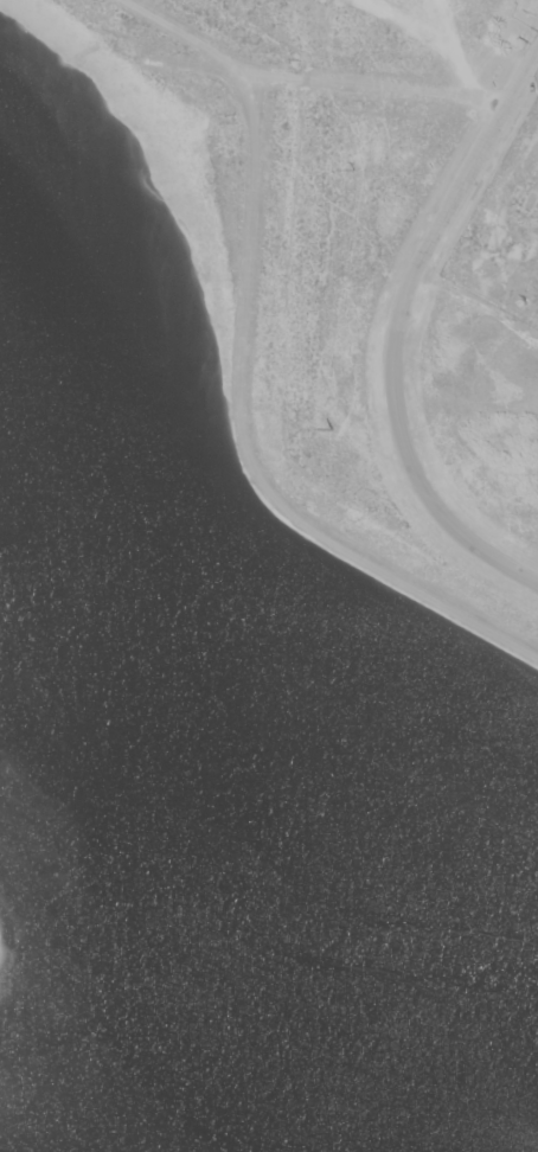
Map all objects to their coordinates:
building: (519, 44)
road: (457, 64)
road: (476, 307)
road: (397, 332)
road: (239, 366)
power plant: (268, 576)

